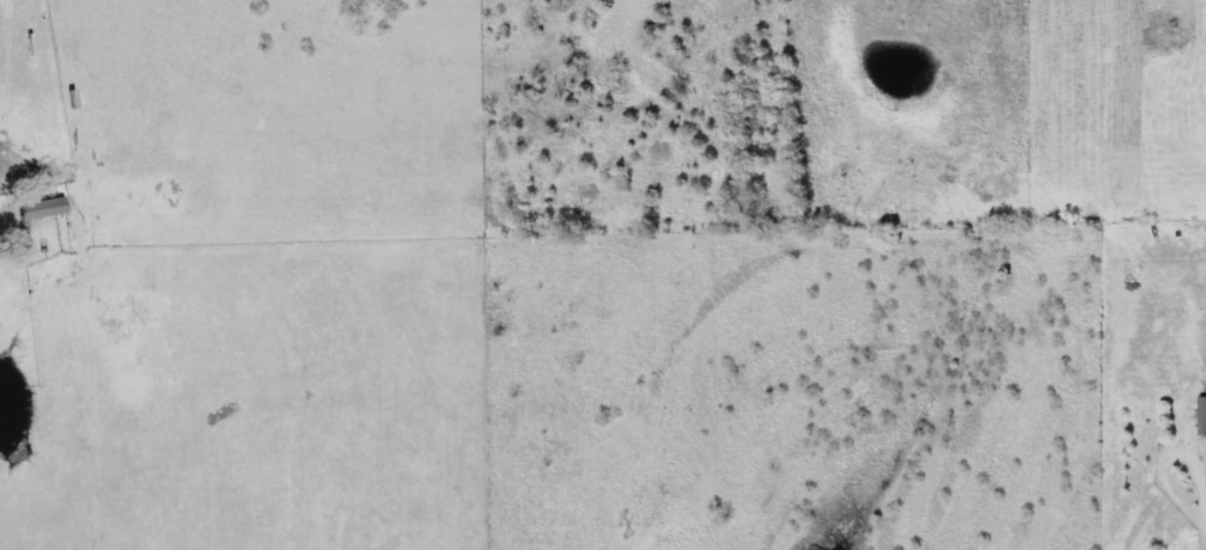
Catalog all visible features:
building: (47, 209)
building: (1205, 412)

